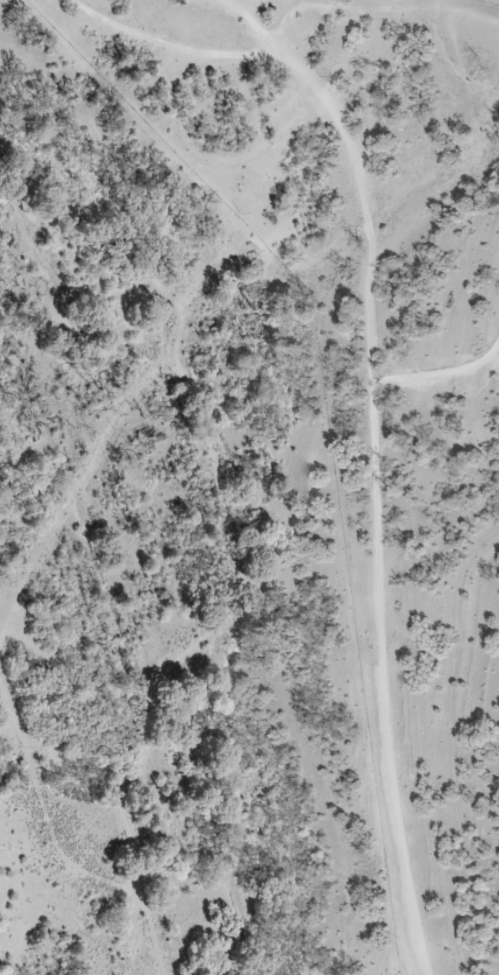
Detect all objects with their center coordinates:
road: (387, 393)

